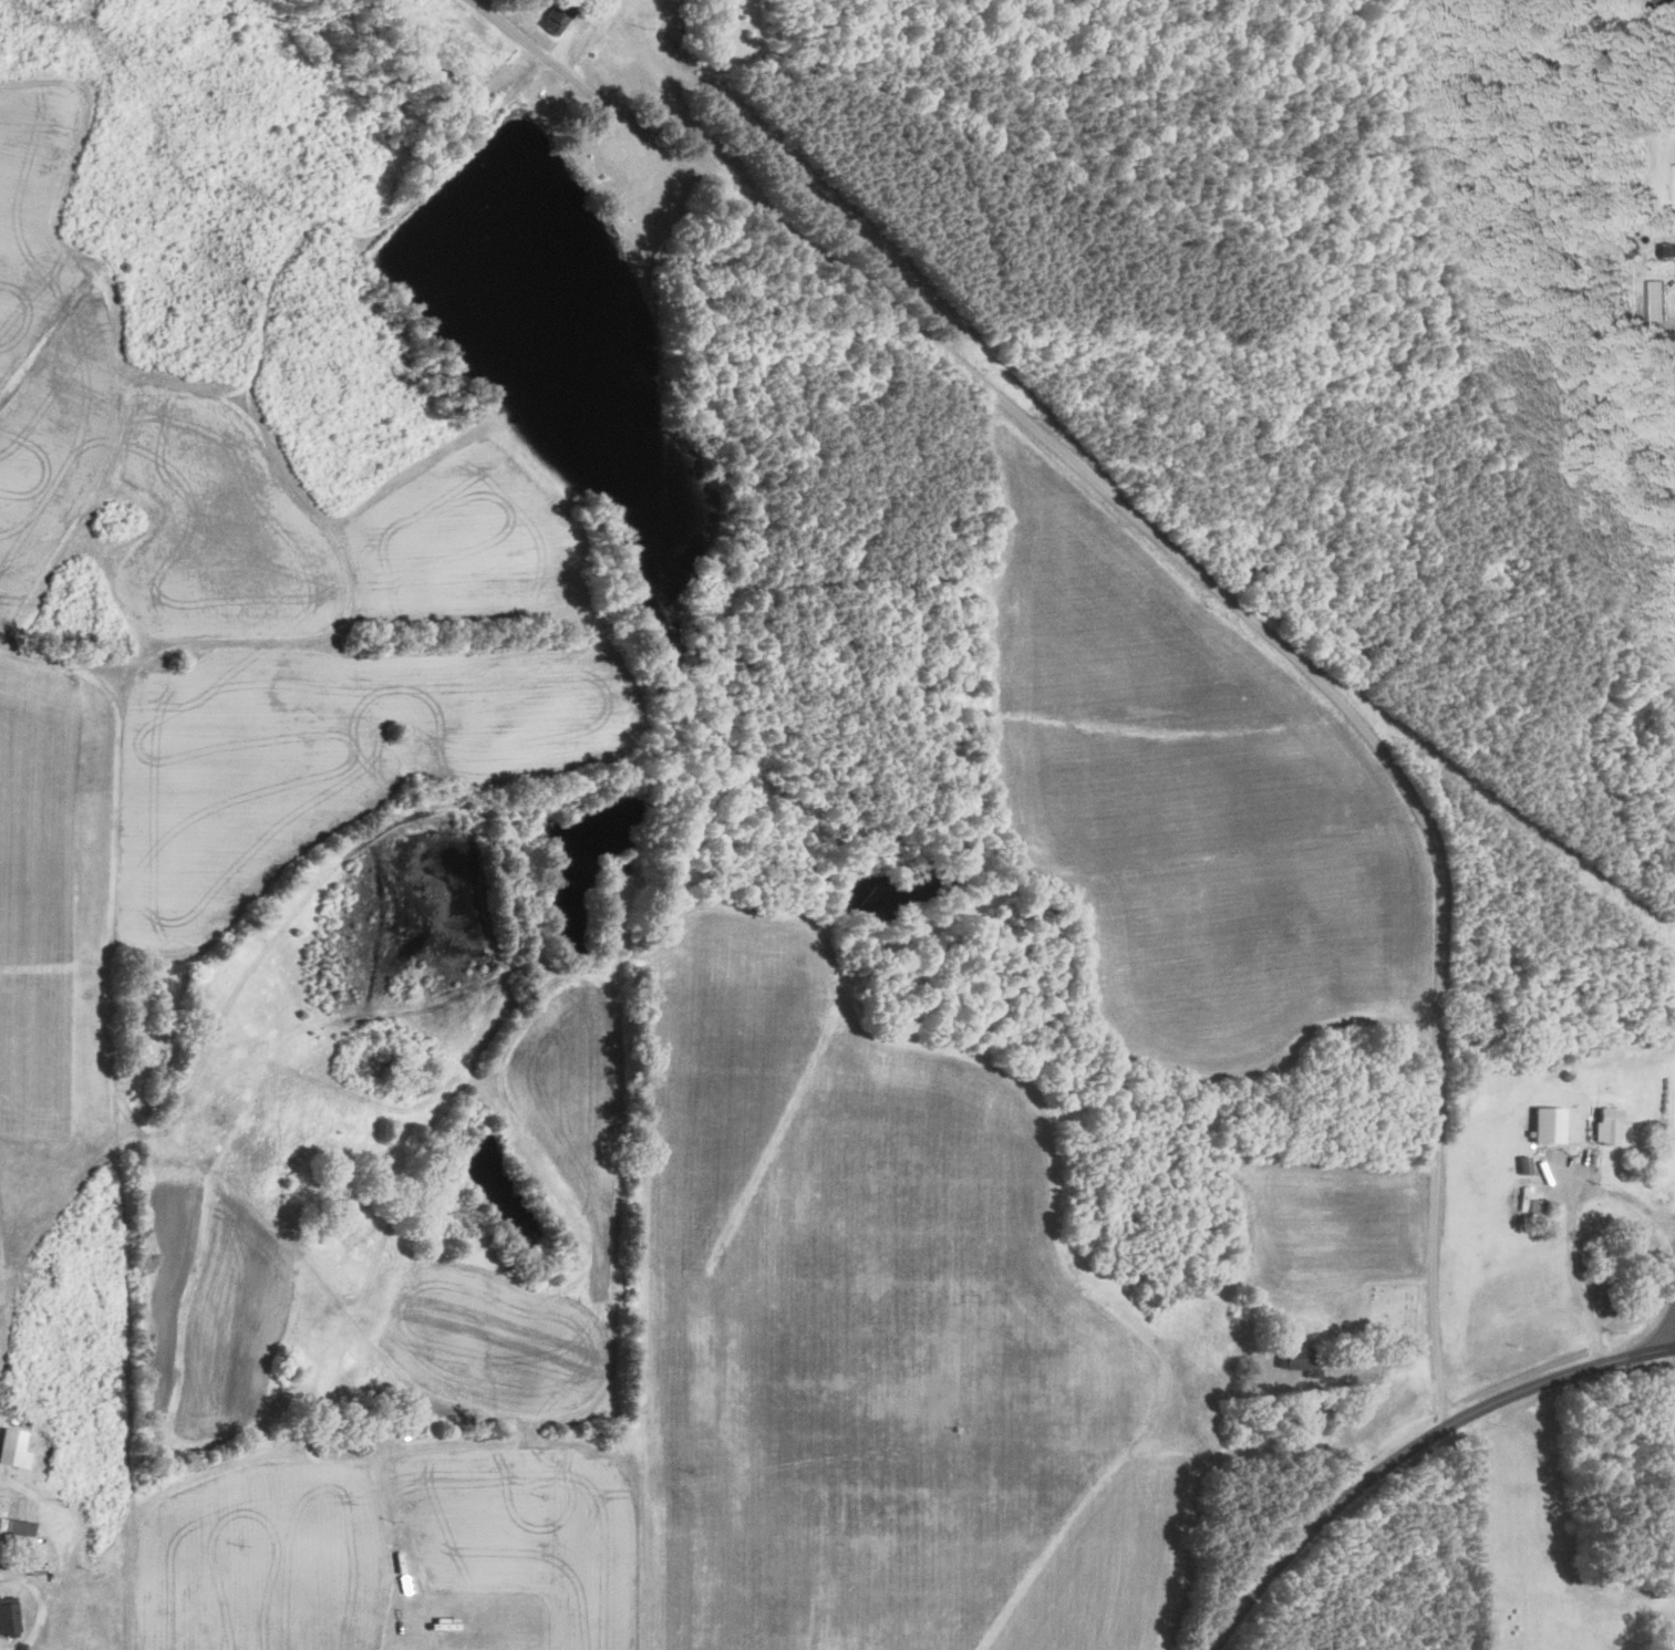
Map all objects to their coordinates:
road: (1662, 2)
building: (550, 21)
building: (1666, 250)
road: (1208, 579)
building: (1604, 1125)
road: (1571, 1231)
building: (1296, 1360)
road: (1559, 1377)
road: (1340, 1426)
building: (12, 1459)
road: (1322, 1523)
building: (13, 1527)
building: (7, 1616)

